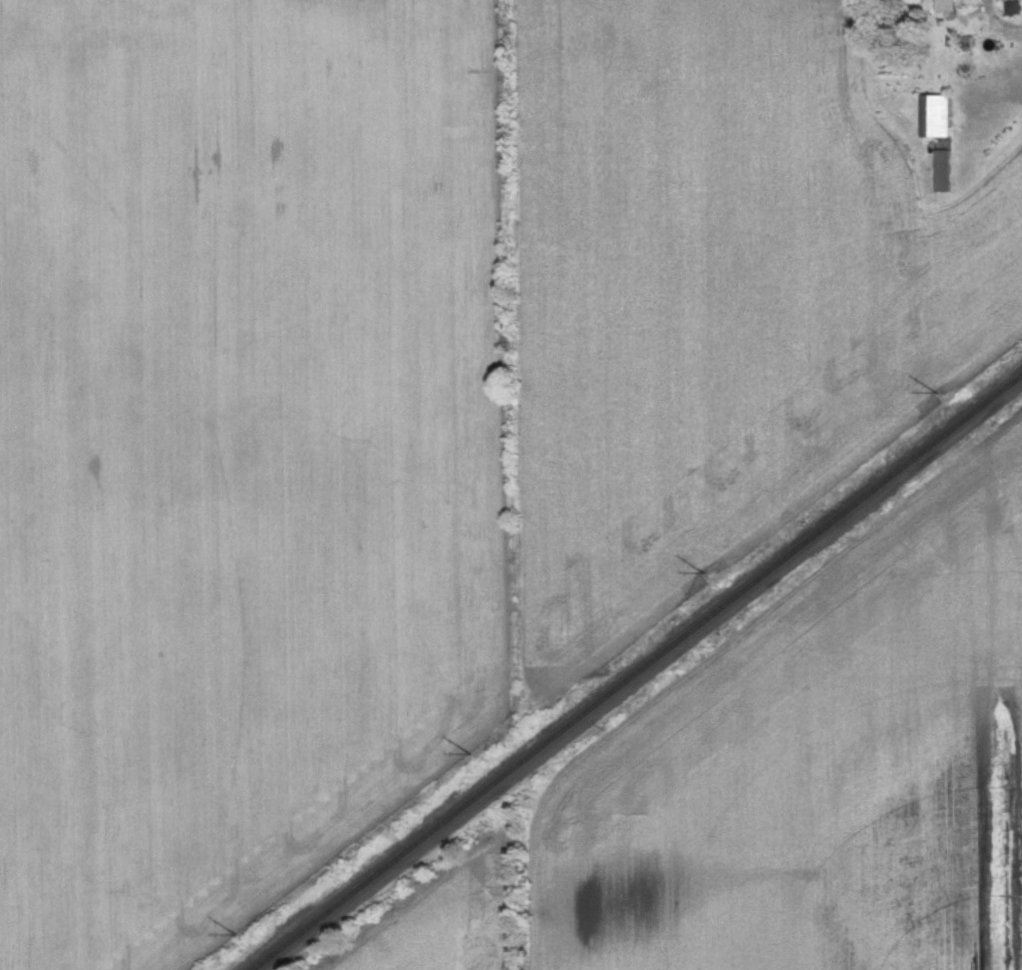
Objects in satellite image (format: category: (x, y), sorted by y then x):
building: (940, 5)
building: (1014, 8)
building: (936, 117)
building: (942, 172)
crop: (721, 299)
crop: (240, 451)
railway: (627, 669)
crop: (813, 766)
crop: (446, 923)

